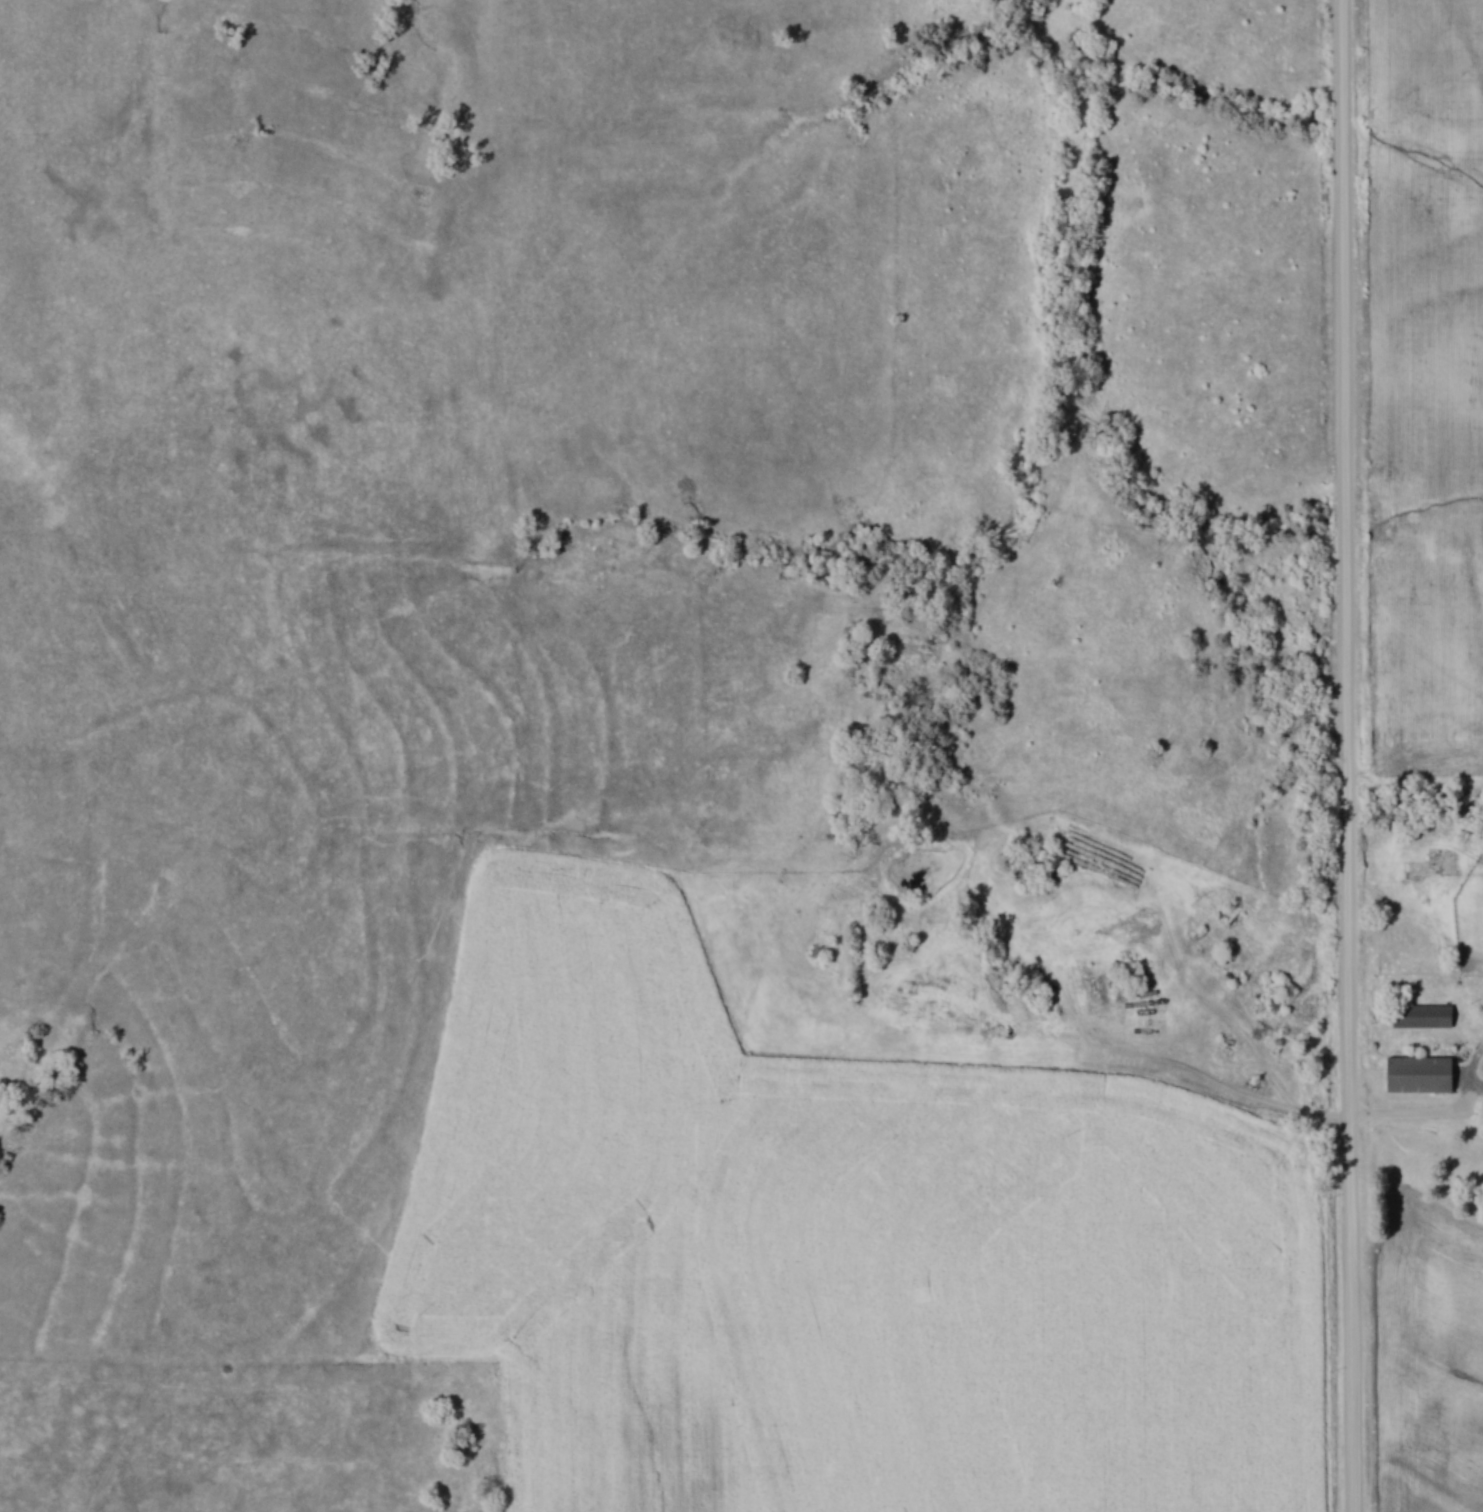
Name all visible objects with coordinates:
road: (1349, 756)
building: (1424, 1016)
building: (1422, 1075)
road: (1286, 1107)

